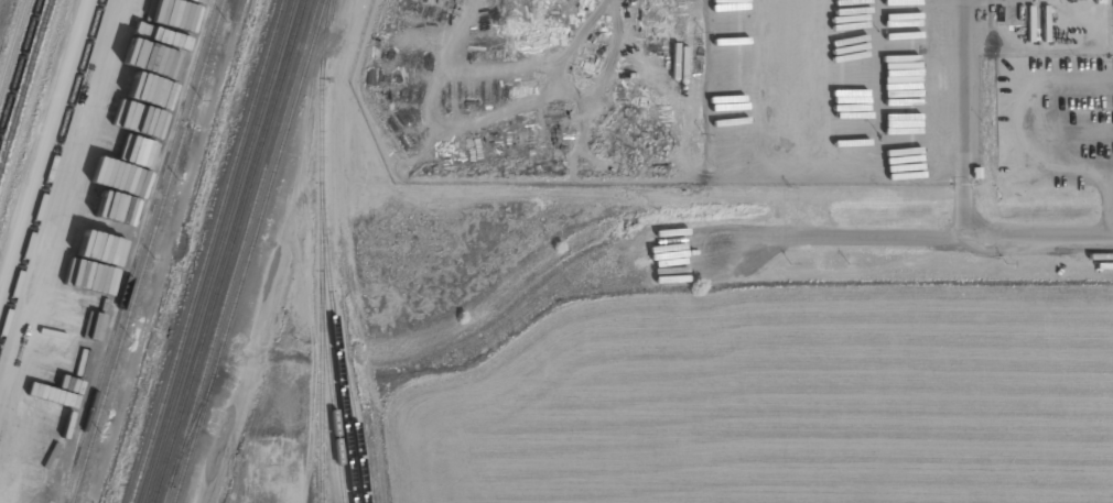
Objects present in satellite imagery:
railway: (20, 67)
railway: (25, 84)
road: (962, 117)
railway: (51, 171)
road: (900, 232)
railway: (138, 250)
railway: (149, 251)
railway: (206, 251)
railway: (217, 251)
railway: (226, 251)
railway: (238, 251)
railway: (249, 251)
railway: (322, 251)
railway: (336, 348)
railway: (331, 394)
railway: (352, 405)
railway: (191, 429)

